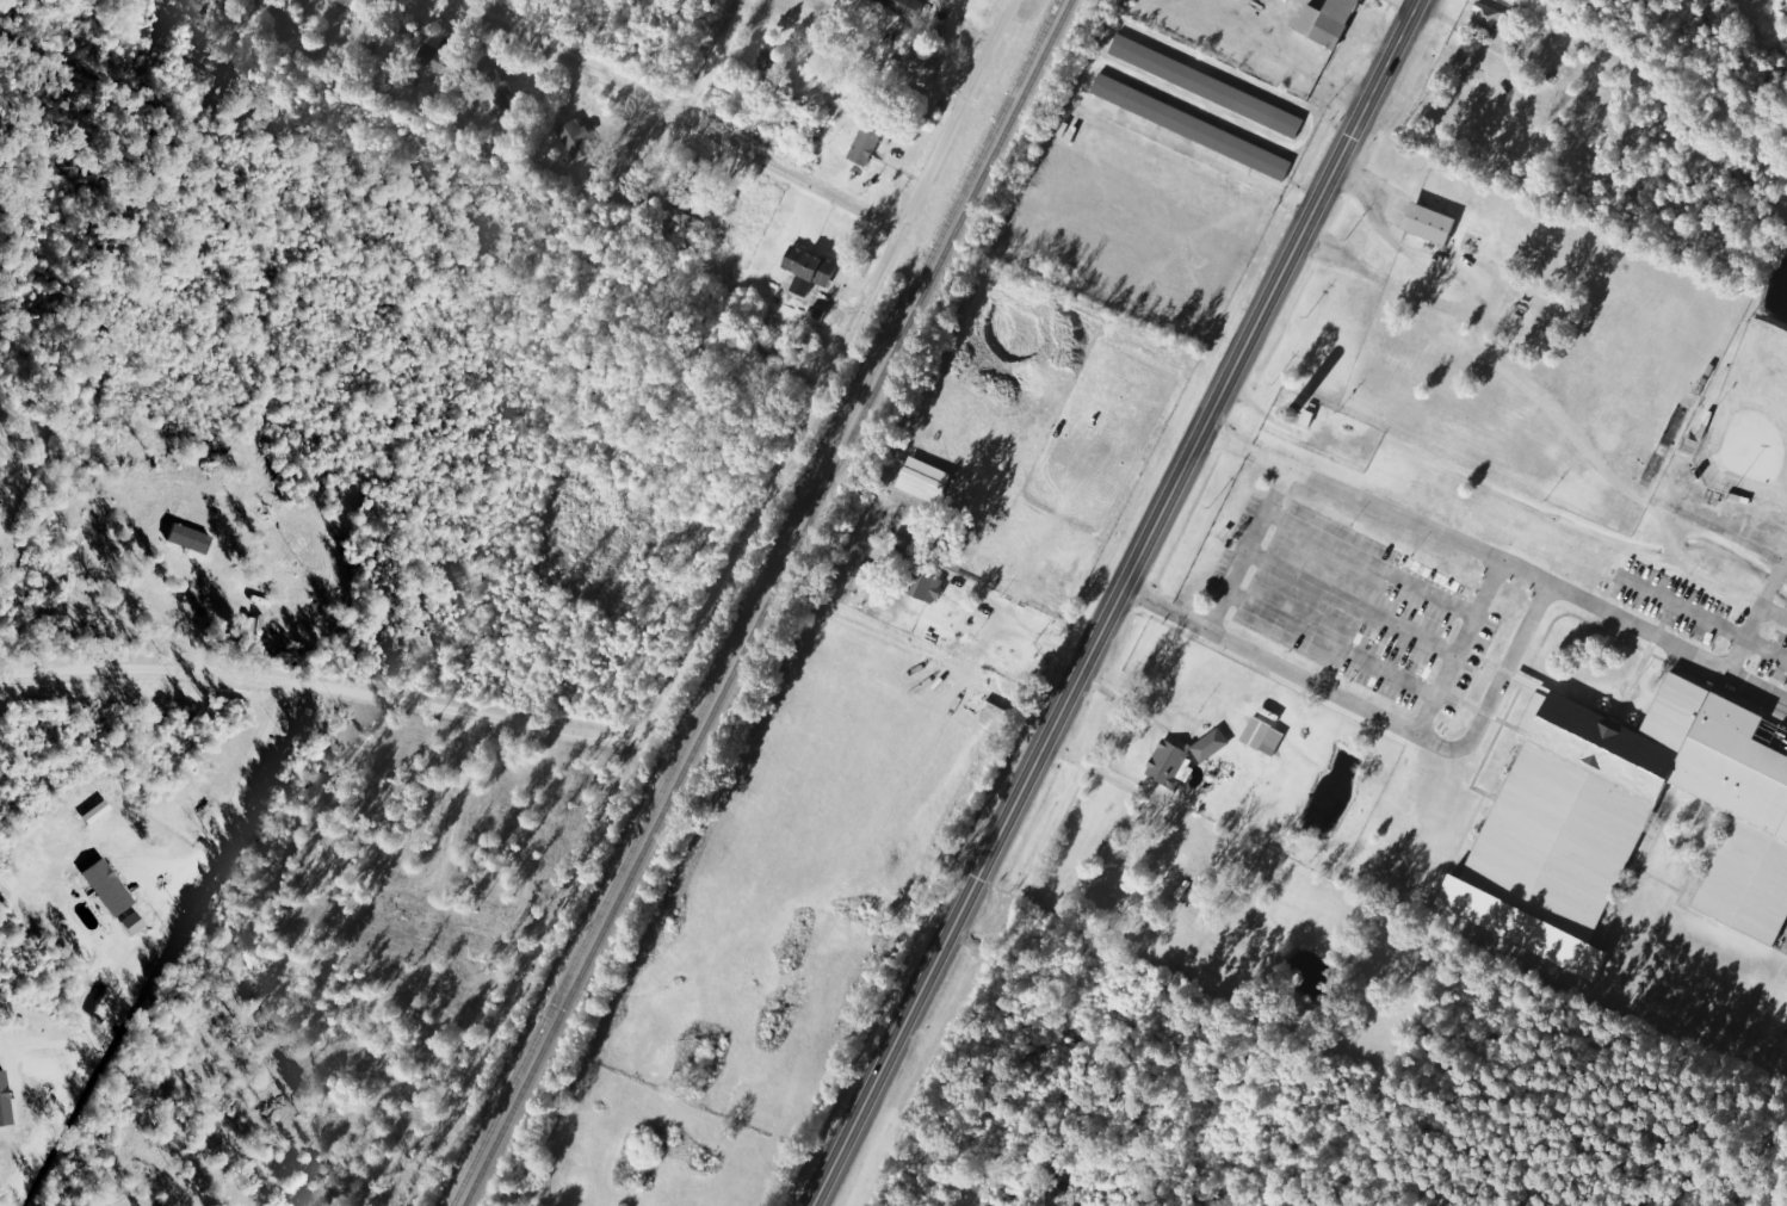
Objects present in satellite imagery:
road: (1010, 1)
road: (458, 5)
building: (907, 6)
road: (1409, 7)
building: (1491, 17)
building: (1329, 21)
building: (433, 57)
road: (703, 57)
building: (917, 62)
building: (497, 85)
building: (1208, 86)
road: (669, 113)
building: (1192, 126)
building: (576, 140)
building: (867, 144)
building: (1432, 224)
building: (811, 266)
road: (830, 370)
park: (1749, 422)
building: (190, 538)
building: (928, 587)
railway: (756, 602)
railway: (769, 602)
road: (1125, 602)
parking lot: (1671, 605)
parking lot: (1352, 608)
parking lot: (1775, 661)
road: (319, 686)
building: (1263, 736)
building: (1211, 744)
building: (1169, 763)
road: (261, 766)
building: (1619, 824)
road: (174, 866)
building: (106, 888)
road: (134, 978)
building: (4, 1102)

